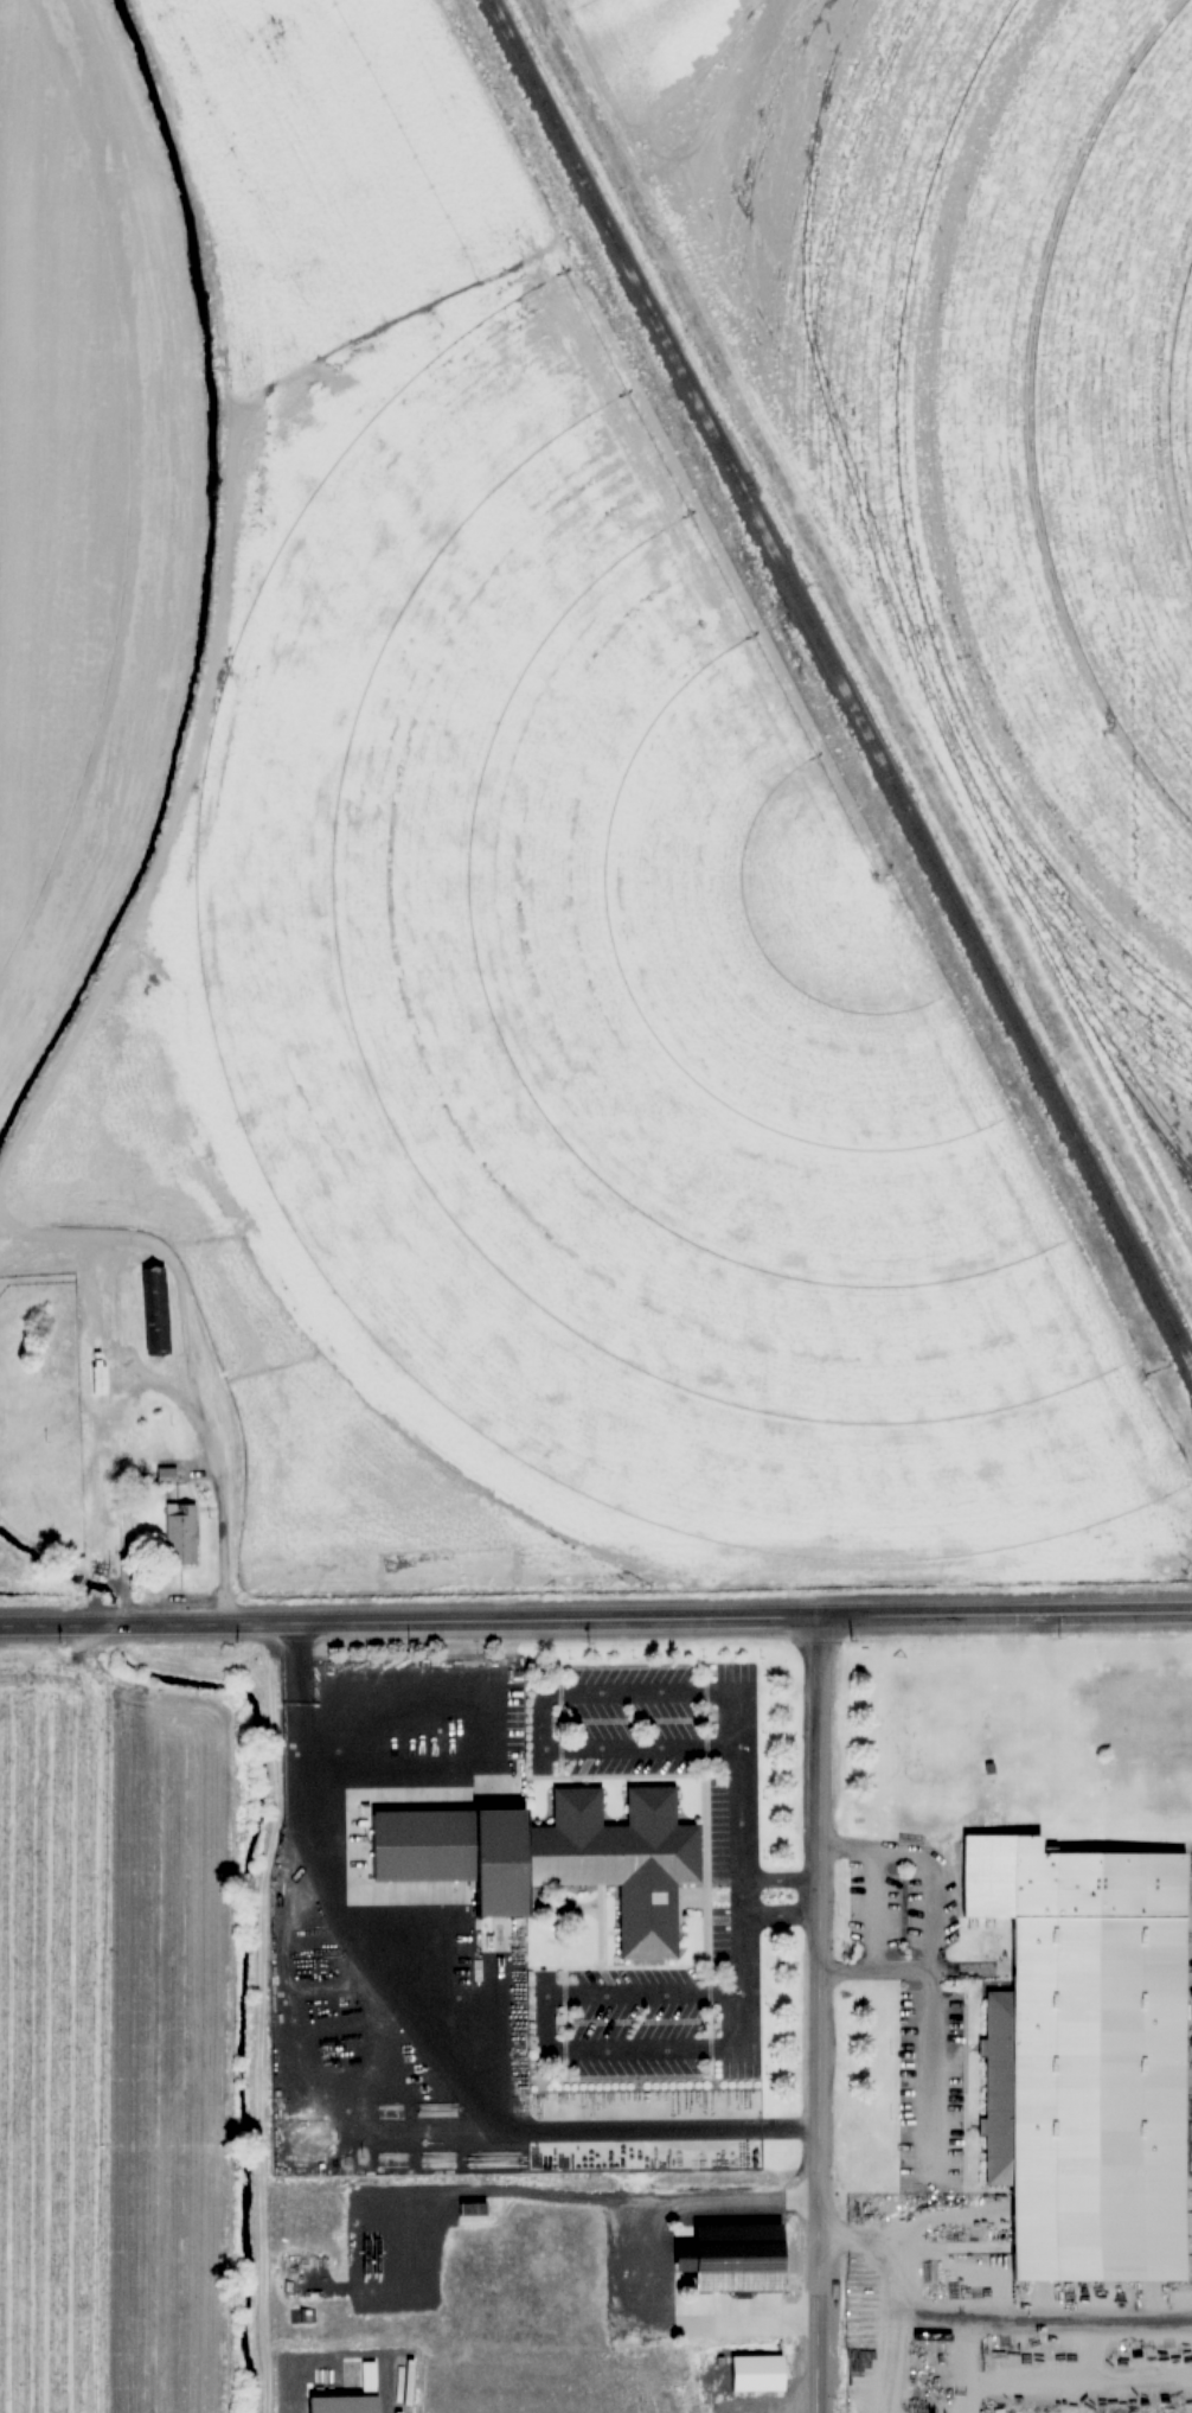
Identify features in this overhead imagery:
railway: (840, 682)
building: (155, 1309)
building: (70, 1338)
railway: (1191, 1366)
building: (166, 1476)
building: (181, 1537)
road: (595, 1613)
building: (427, 1841)
building: (598, 1860)
crop: (132, 2006)
road: (815, 2012)
building: (1092, 2053)
building: (473, 2211)
building: (736, 2255)
building: (758, 2370)

